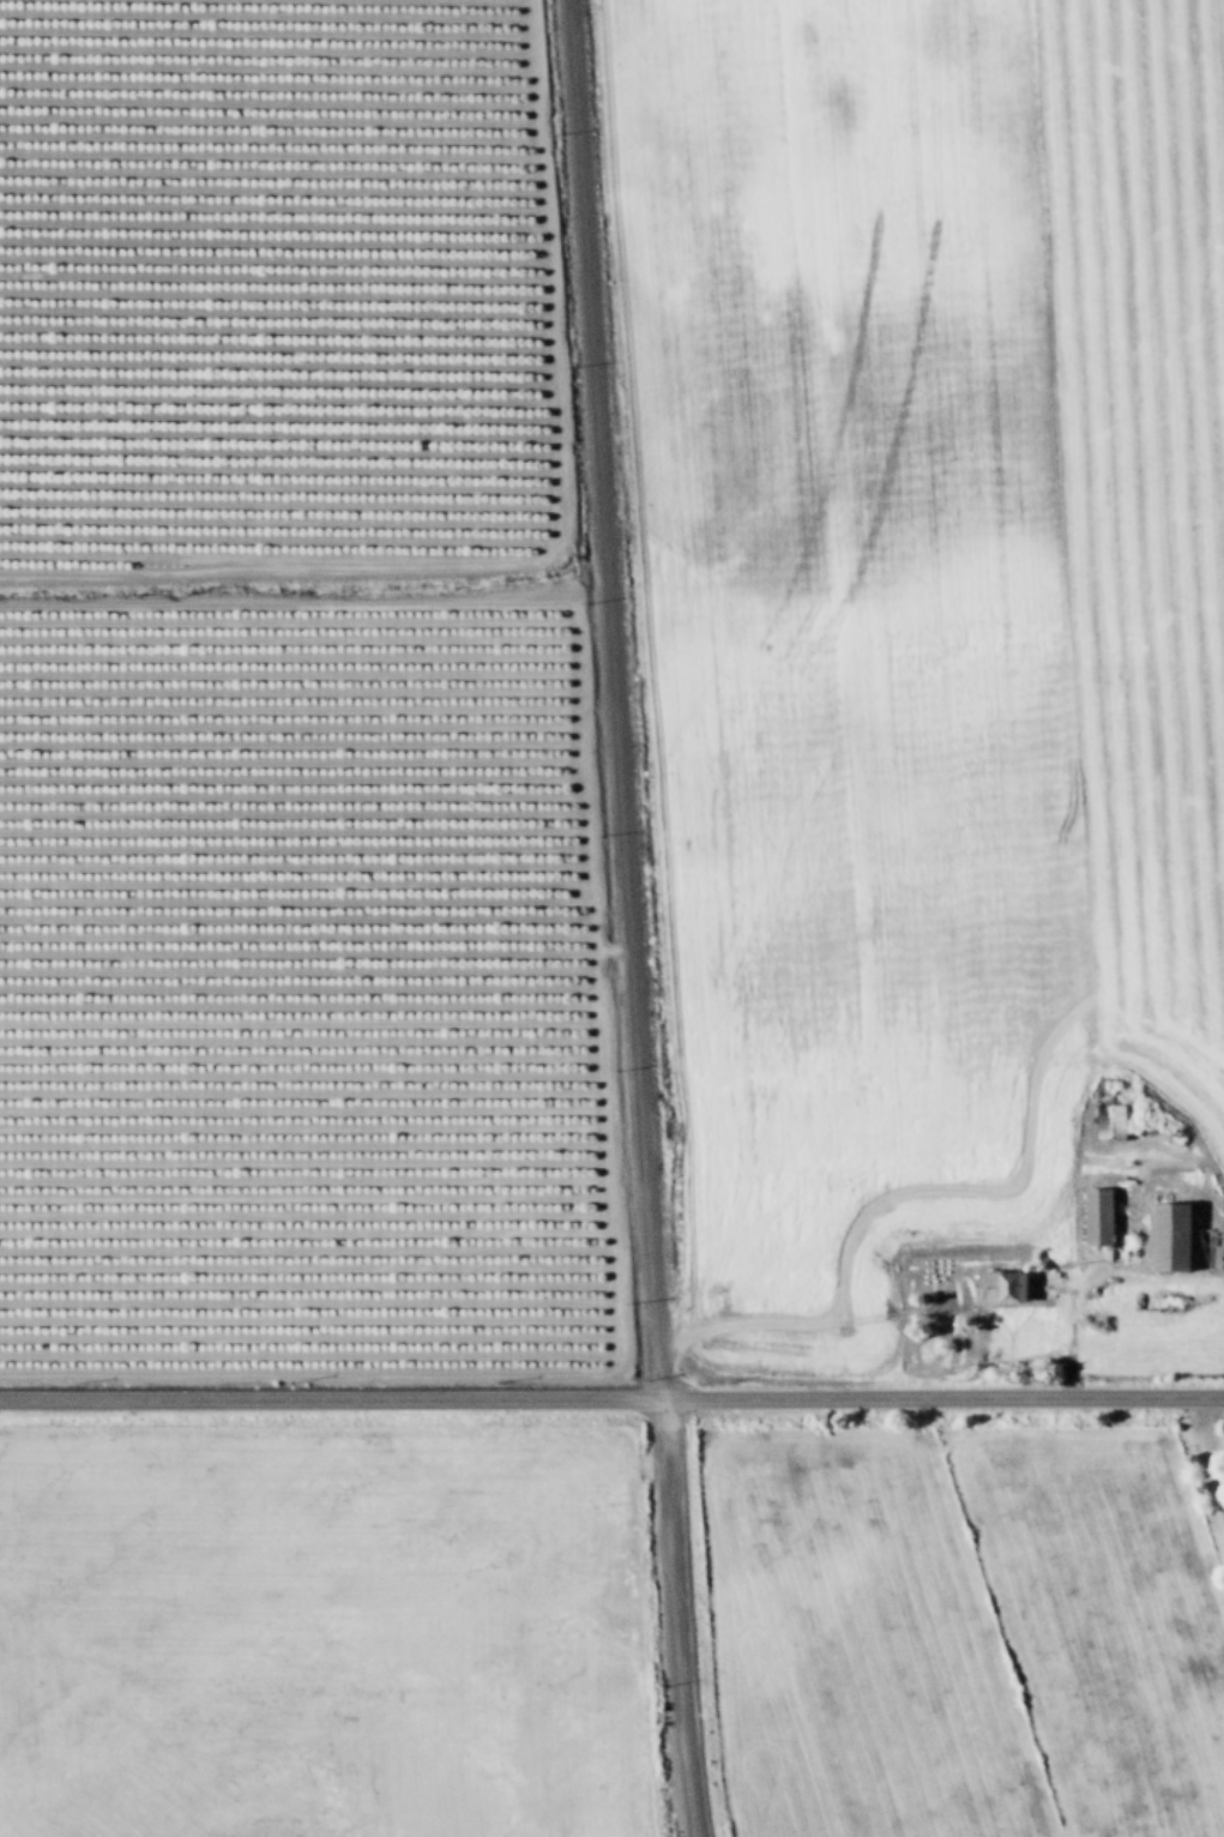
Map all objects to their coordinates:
crop: (611, 918)
road: (628, 918)
building: (1108, 1119)
building: (1095, 1213)
building: (1168, 1234)
building: (997, 1284)
road: (611, 1396)
road: (1207, 1450)

